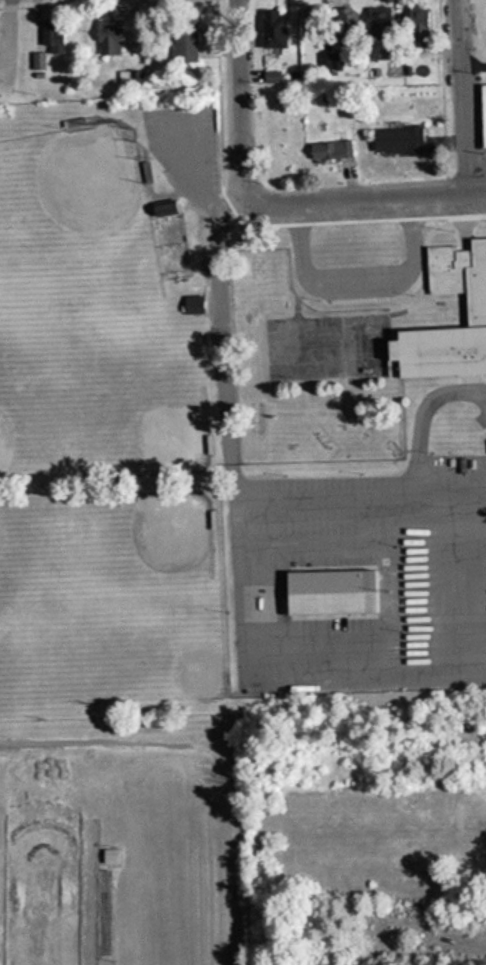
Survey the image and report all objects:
building: (343, 17)
building: (418, 23)
building: (269, 27)
building: (106, 36)
building: (182, 38)
building: (128, 80)
road: (232, 97)
road: (459, 97)
building: (481, 115)
building: (397, 138)
building: (328, 149)
road: (365, 201)
building: (191, 303)
building: (474, 311)
building: (324, 592)
building: (101, 912)

